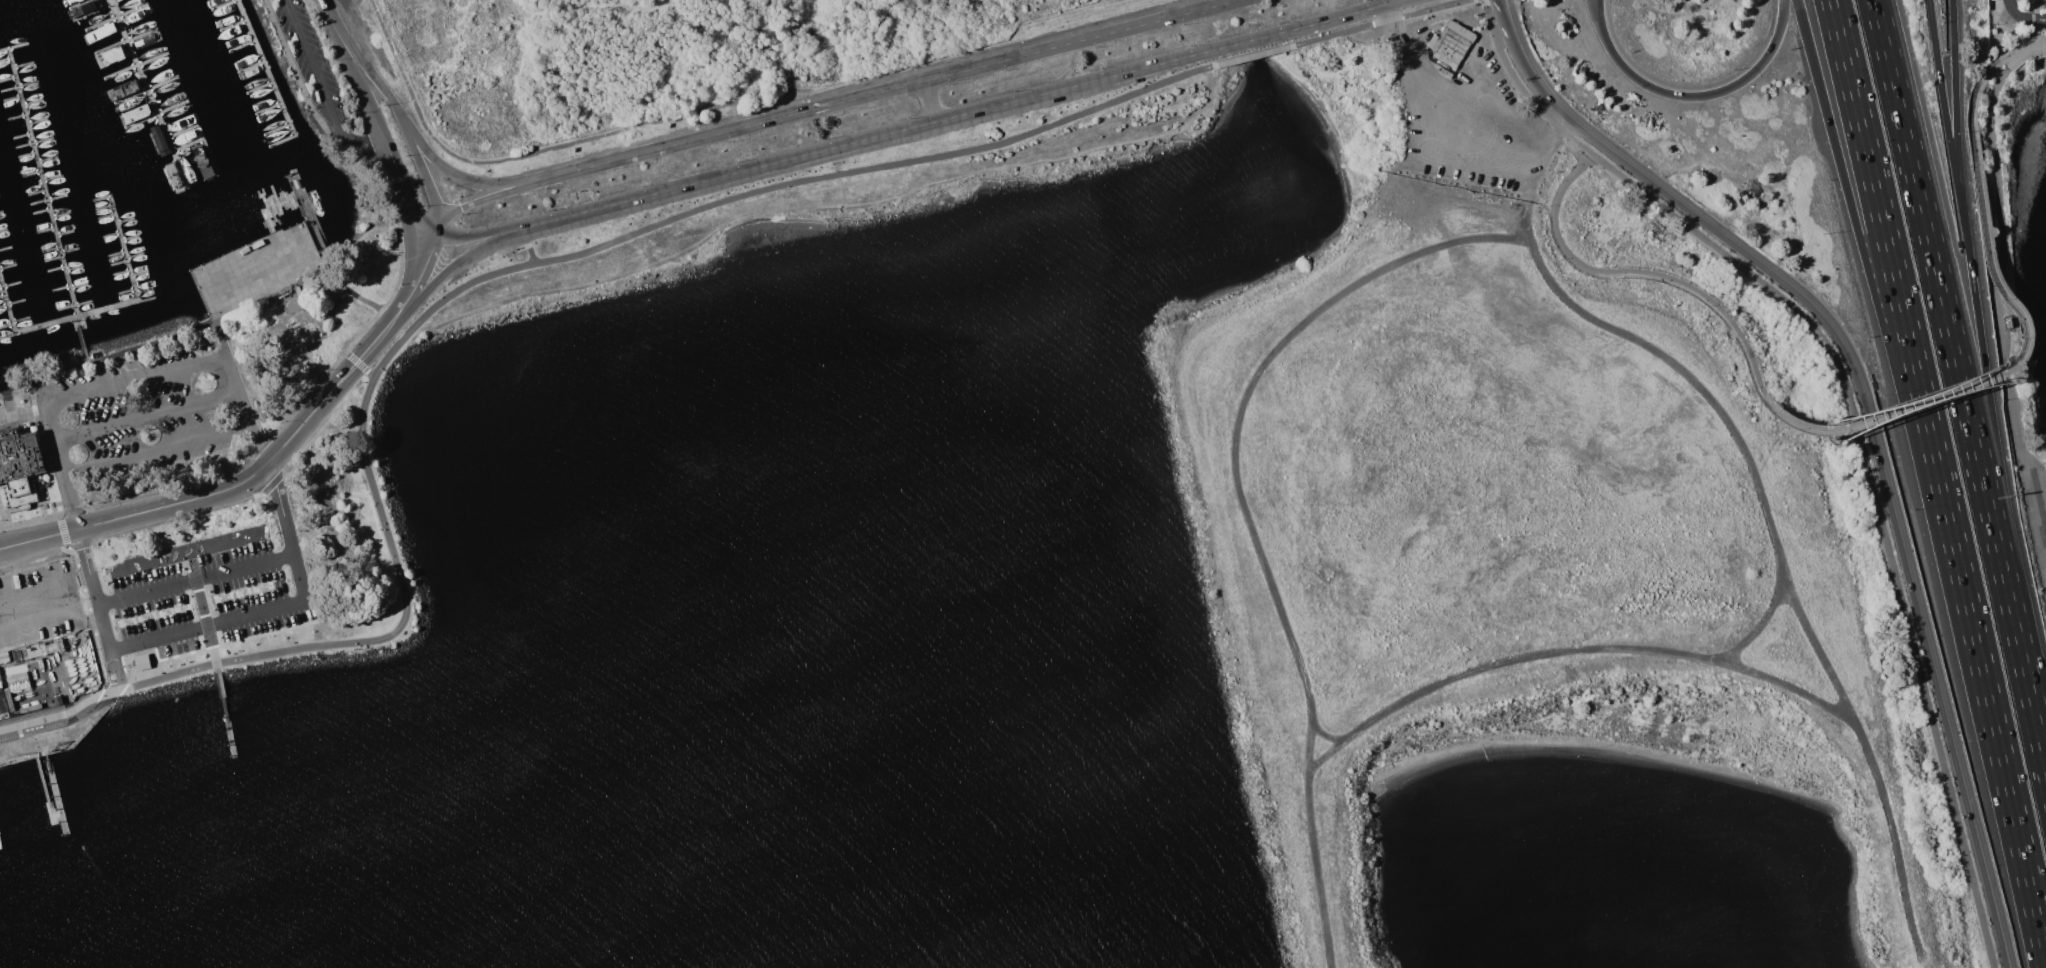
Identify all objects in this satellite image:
road: (1379, 1)
road: (1384, 1)
road: (1503, 7)
road: (324, 10)
road: (2023, 17)
road: (1379, 21)
road: (1597, 24)
road: (1600, 24)
road: (1085, 41)
building: (1450, 43)
road: (2033, 50)
road: (1252, 53)
parking lot: (310, 64)
park: (692, 64)
pier: (266, 67)
road: (319, 88)
road: (926, 89)
pier: (148, 91)
road: (1714, 92)
road: (877, 94)
road: (1465, 95)
road: (390, 97)
road: (927, 97)
road: (1976, 97)
road: (372, 113)
road: (1944, 113)
road: (1954, 113)
parking lot: (1471, 125)
road: (1488, 130)
road: (1455, 134)
road: (678, 140)
pier: (42, 181)
road: (496, 182)
road: (416, 198)
road: (829, 200)
road: (370, 201)
road: (480, 201)
pier: (313, 220)
road: (527, 227)
road: (1541, 230)
road: (473, 244)
road: (2004, 249)
road: (436, 253)
road: (1404, 257)
road: (1935, 266)
park: (2022, 268)
road: (419, 270)
road: (508, 270)
road: (1638, 272)
road: (1894, 273)
road: (431, 274)
road: (1868, 275)
pier: (131, 277)
road: (353, 294)
pier: (18, 330)
road: (219, 337)
pier: (80, 339)
road: (350, 344)
road: (1687, 367)
road: (1988, 375)
road: (133, 376)
road: (341, 377)
road: (1985, 378)
road: (44, 388)
road: (233, 389)
road: (1856, 412)
parking lot: (154, 416)
road: (145, 417)
road: (1871, 421)
road: (257, 443)
road: (155, 452)
road: (61, 464)
building: (20, 465)
road: (2034, 506)
road: (136, 511)
park: (1546, 522)
park: (188, 549)
road: (82, 572)
road: (194, 579)
road: (37, 584)
road: (92, 588)
parking lot: (213, 596)
road: (69, 597)
parking lot: (39, 601)
road: (277, 609)
road: (93, 613)
road: (206, 621)
road: (44, 626)
road: (2021, 644)
building: (44, 648)
building: (3, 656)
building: (141, 662)
road: (112, 670)
building: (16, 676)
road: (1788, 678)
road: (1406, 694)
building: (57, 698)
building: (8, 699)
building: (3, 705)
building: (29, 707)
road: (57, 711)
pier: (229, 728)
road: (63, 731)
road: (1322, 751)
road: (2000, 754)
road: (1872, 763)
pier: (55, 786)
road: (1310, 838)

